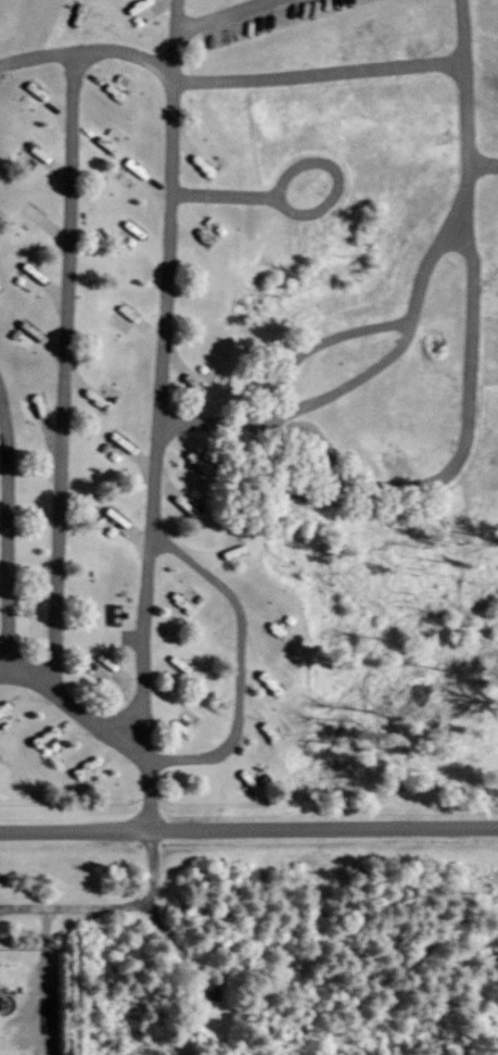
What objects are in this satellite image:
road: (220, 14)
road: (244, 38)
road: (228, 79)
road: (484, 164)
road: (337, 177)
road: (224, 194)
road: (417, 298)
road: (321, 341)
road: (65, 364)
road: (158, 414)
road: (450, 466)
road: (7, 618)
road: (242, 662)
road: (3, 667)
building: (88, 774)
road: (248, 828)
road: (107, 906)
road: (495, 910)
road: (200, 976)
road: (39, 983)
road: (33, 1017)

